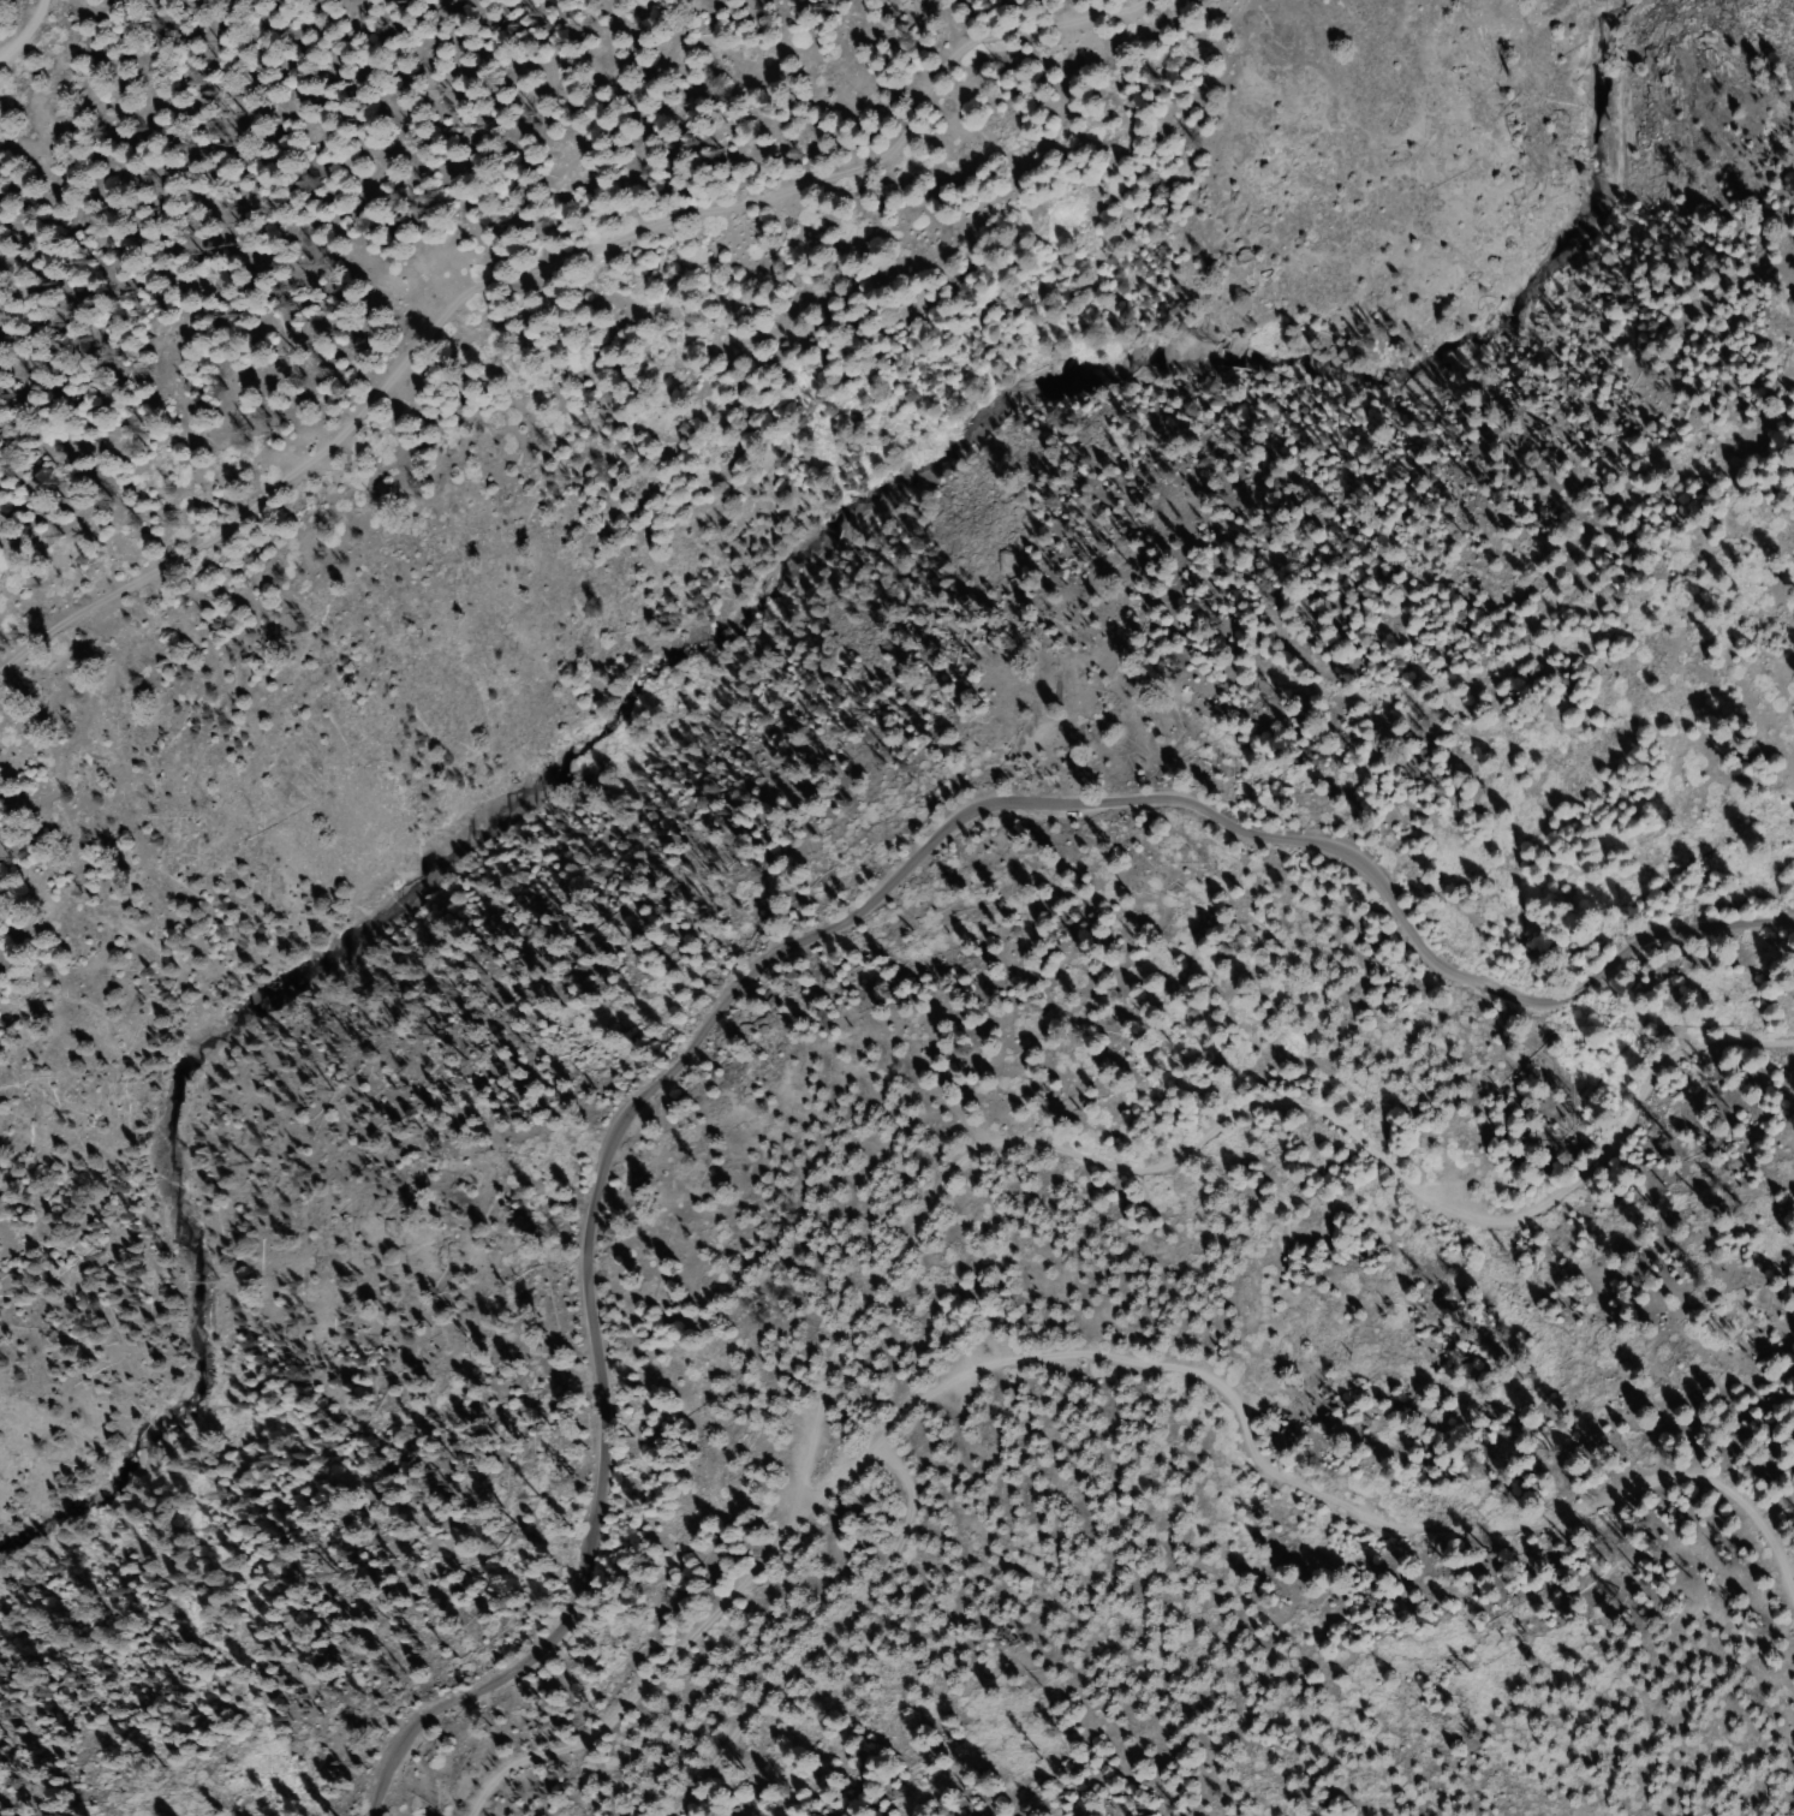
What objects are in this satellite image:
road: (20, 31)
road: (564, 270)
road: (829, 927)
road: (1020, 1178)
road: (1119, 1367)

